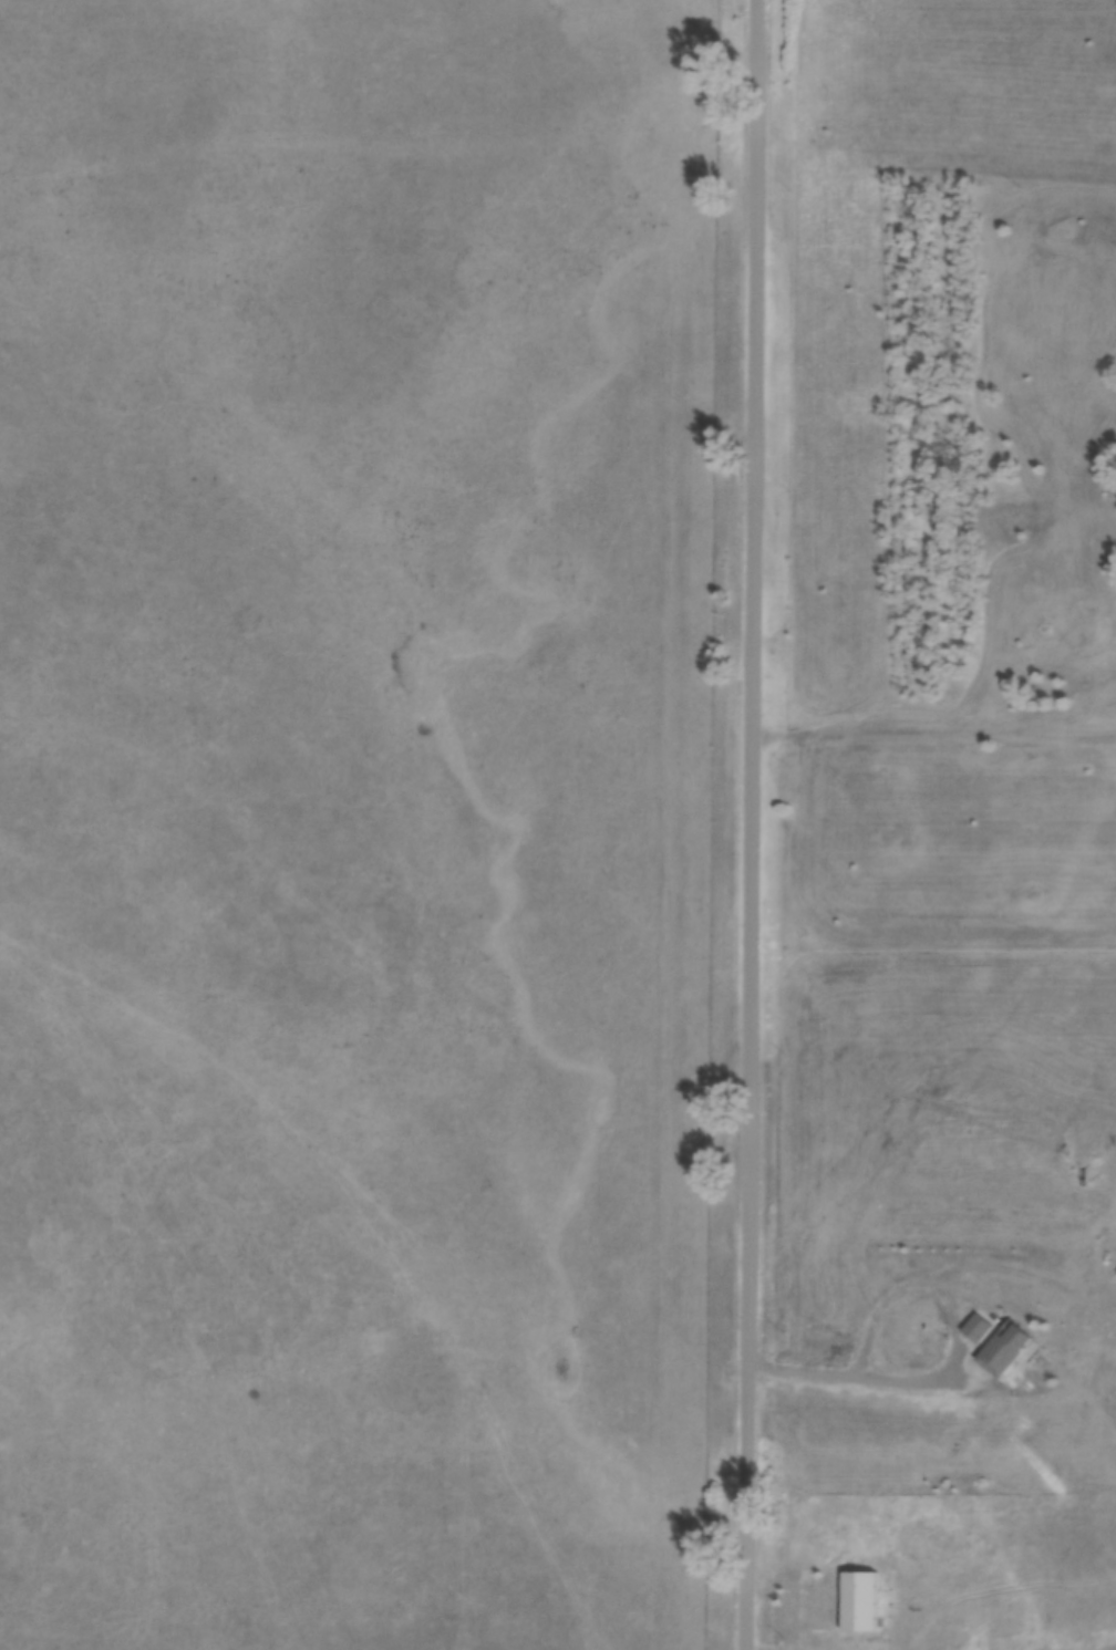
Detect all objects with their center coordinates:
road: (750, 824)
building: (1115, 1275)
building: (974, 1328)
building: (1001, 1348)
building: (855, 1602)

